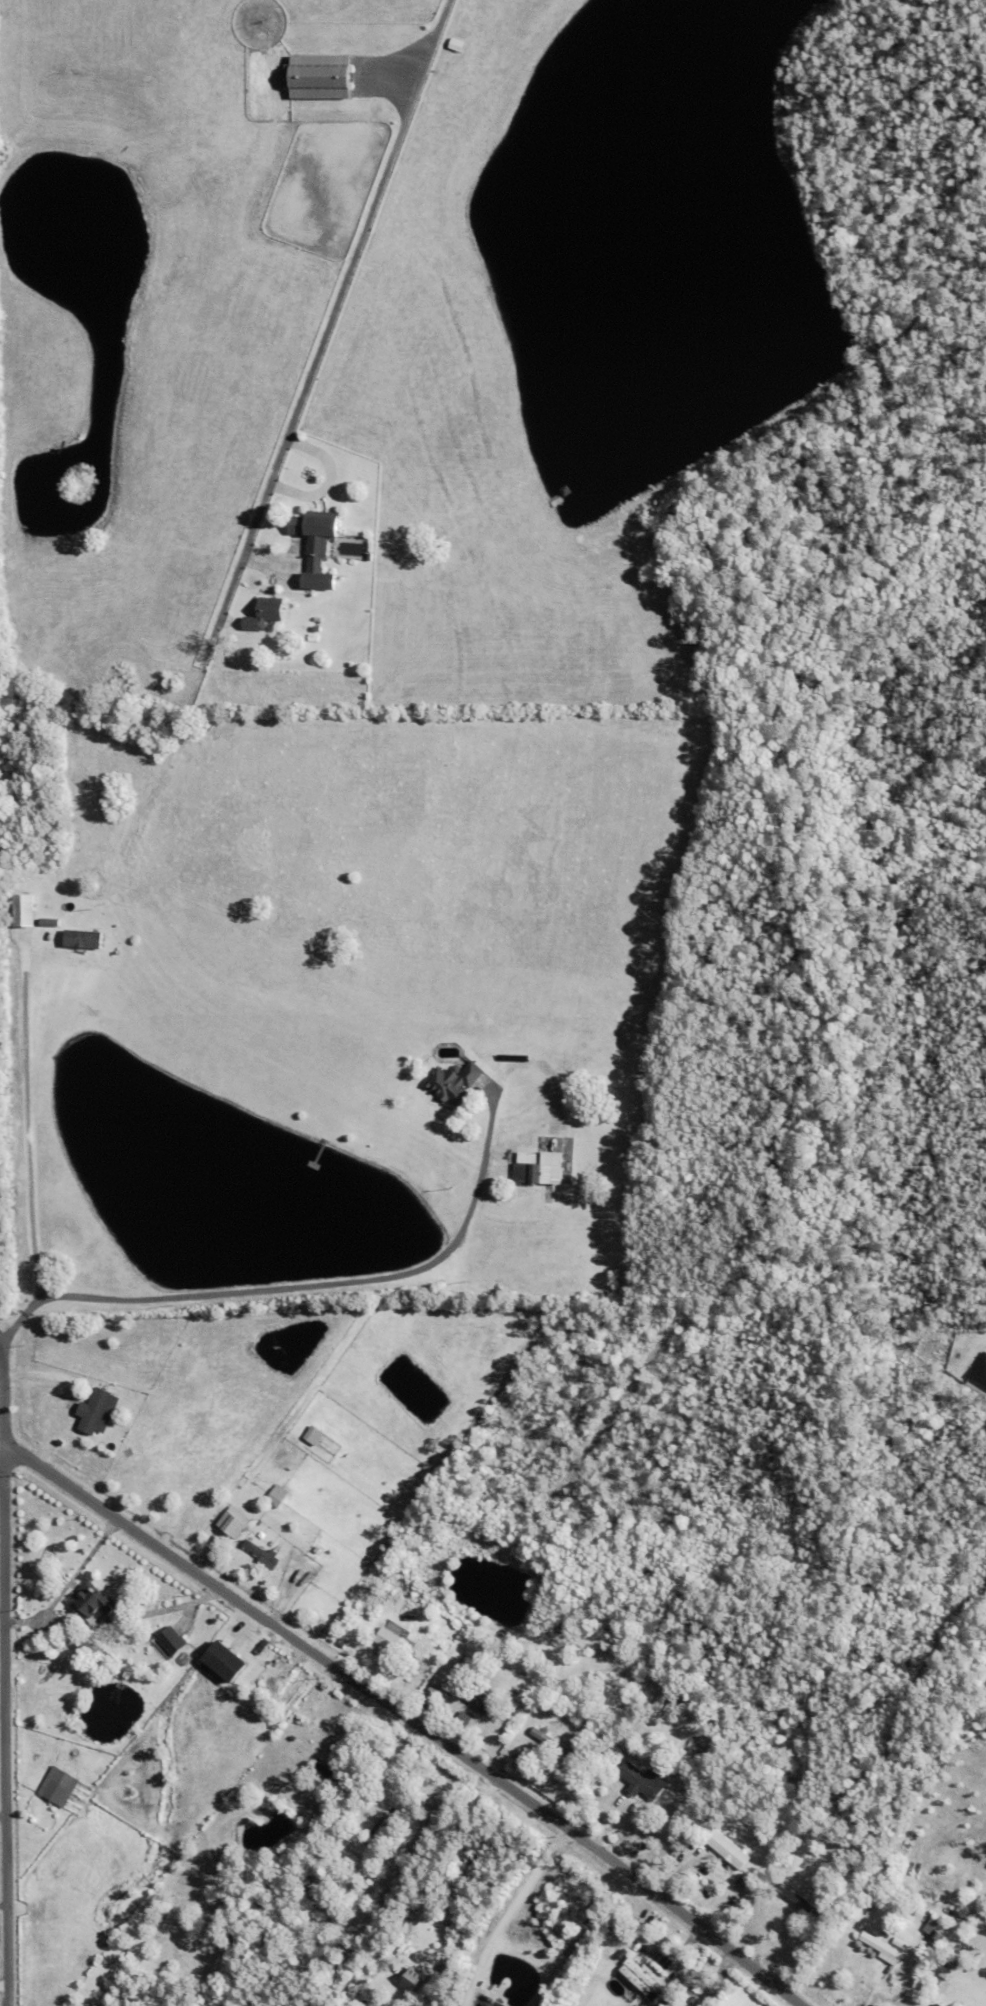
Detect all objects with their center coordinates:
building: (346, 30)
building: (459, 42)
building: (322, 77)
road: (330, 317)
building: (565, 491)
building: (556, 502)
building: (319, 550)
building: (264, 615)
building: (316, 630)
building: (172, 680)
building: (227, 682)
building: (24, 912)
building: (84, 938)
building: (453, 1084)
road: (20, 1128)
building: (539, 1170)
building: (510, 1201)
road: (295, 1287)
building: (981, 1370)
building: (96, 1406)
building: (314, 1434)
building: (279, 1494)
building: (238, 1528)
building: (263, 1549)
building: (91, 1599)
building: (152, 1610)
building: (410, 1616)
building: (171, 1638)
building: (80, 1639)
building: (390, 1640)
building: (341, 1641)
building: (262, 1644)
building: (226, 1660)
road: (6, 1675)
building: (288, 1685)
building: (479, 1696)
building: (661, 1697)
building: (426, 1702)
building: (672, 1705)
building: (585, 1717)
road: (406, 1719)
building: (549, 1738)
building: (330, 1773)
building: (643, 1779)
building: (60, 1782)
building: (728, 1847)
building: (371, 1848)
building: (711, 1852)
building: (831, 1852)
building: (691, 1855)
building: (382, 1870)
building: (307, 1878)
building: (877, 1878)
building: (804, 1902)
building: (319, 1908)
road: (513, 1914)
building: (869, 1924)
building: (190, 1925)
building: (934, 1928)
building: (882, 1947)
building: (440, 1958)
building: (639, 1977)
building: (411, 1978)
building: (940, 2004)

